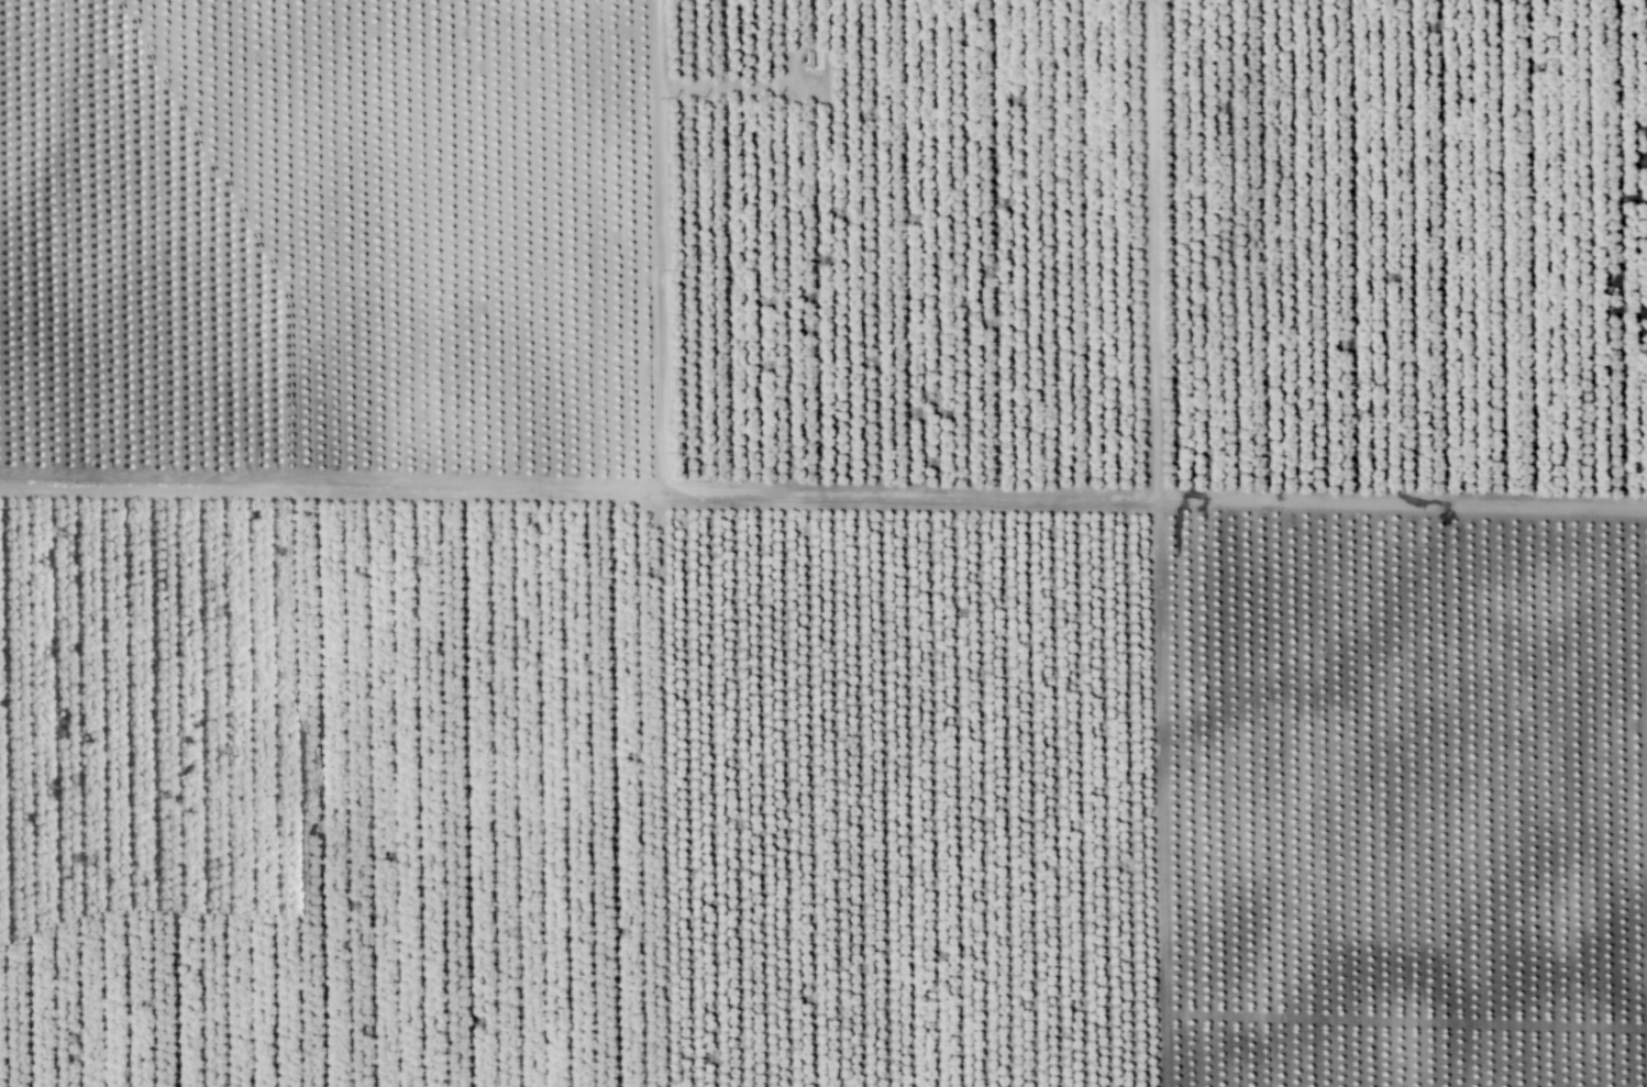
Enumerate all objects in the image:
crop: (824, 543)

